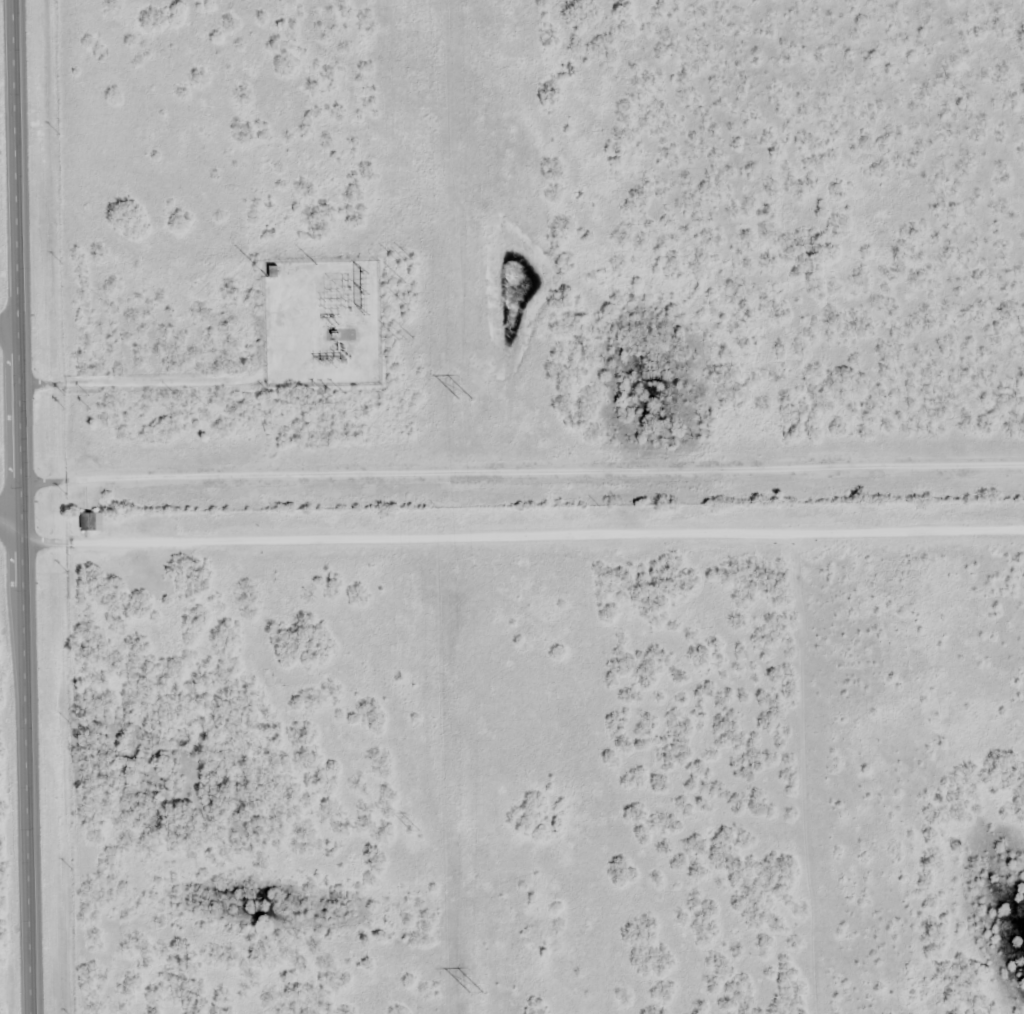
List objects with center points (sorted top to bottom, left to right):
power tower: (404, 260)
power tower: (406, 284)
power tower: (410, 304)
power substation: (322, 324)
road: (11, 331)
power tower: (406, 340)
power tower: (462, 402)
road: (525, 470)
road: (24, 506)
building: (87, 524)
road: (511, 537)
power tower: (415, 832)
power tower: (475, 995)

